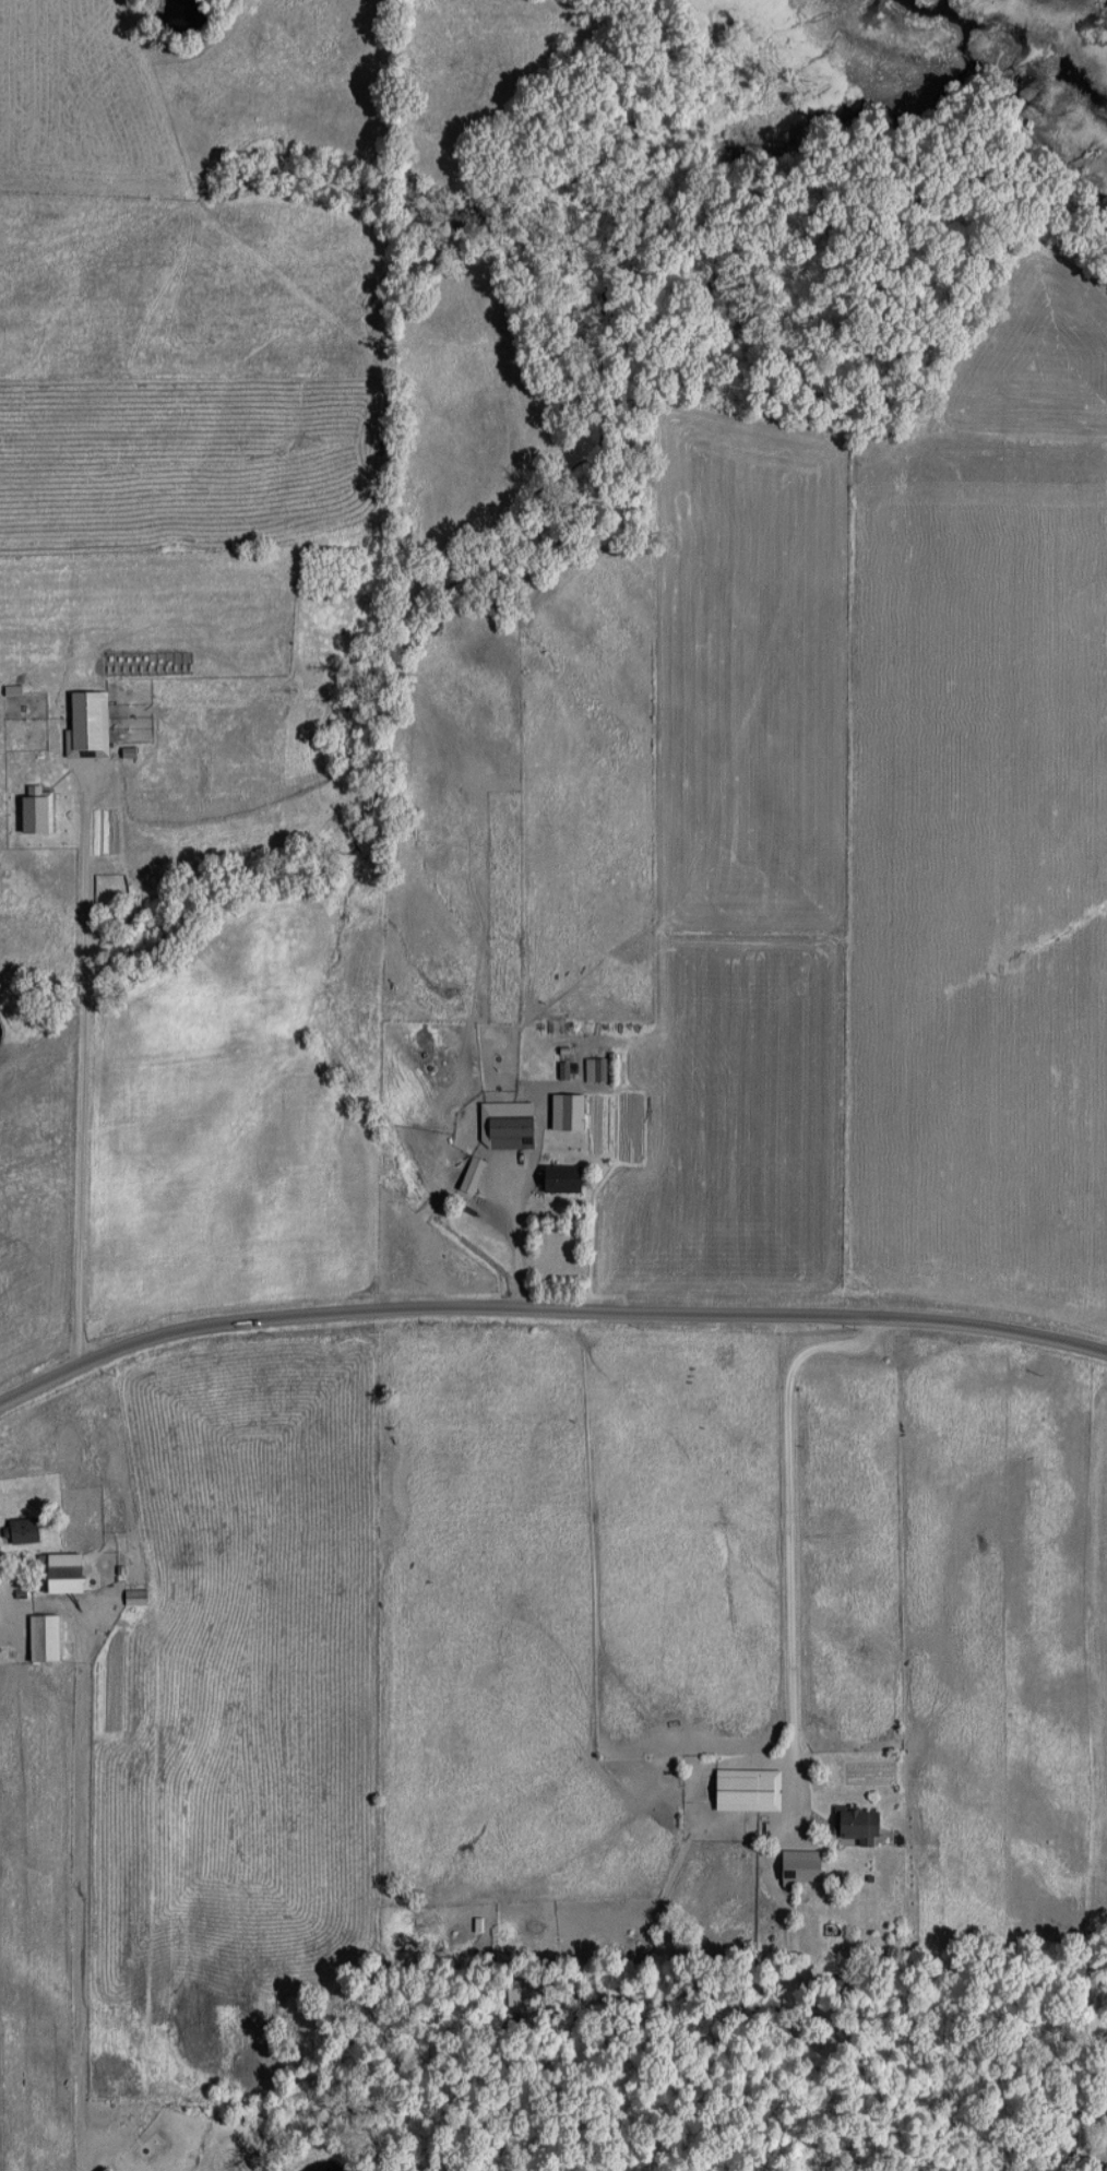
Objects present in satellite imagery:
building: (593, 1068)
building: (560, 1070)
building: (507, 1132)
building: (468, 1175)
building: (557, 1178)
building: (391, 1254)
road: (544, 1313)
building: (19, 1530)
building: (58, 1571)
building: (132, 1595)
building: (39, 1637)
building: (743, 1789)
building: (854, 1824)

